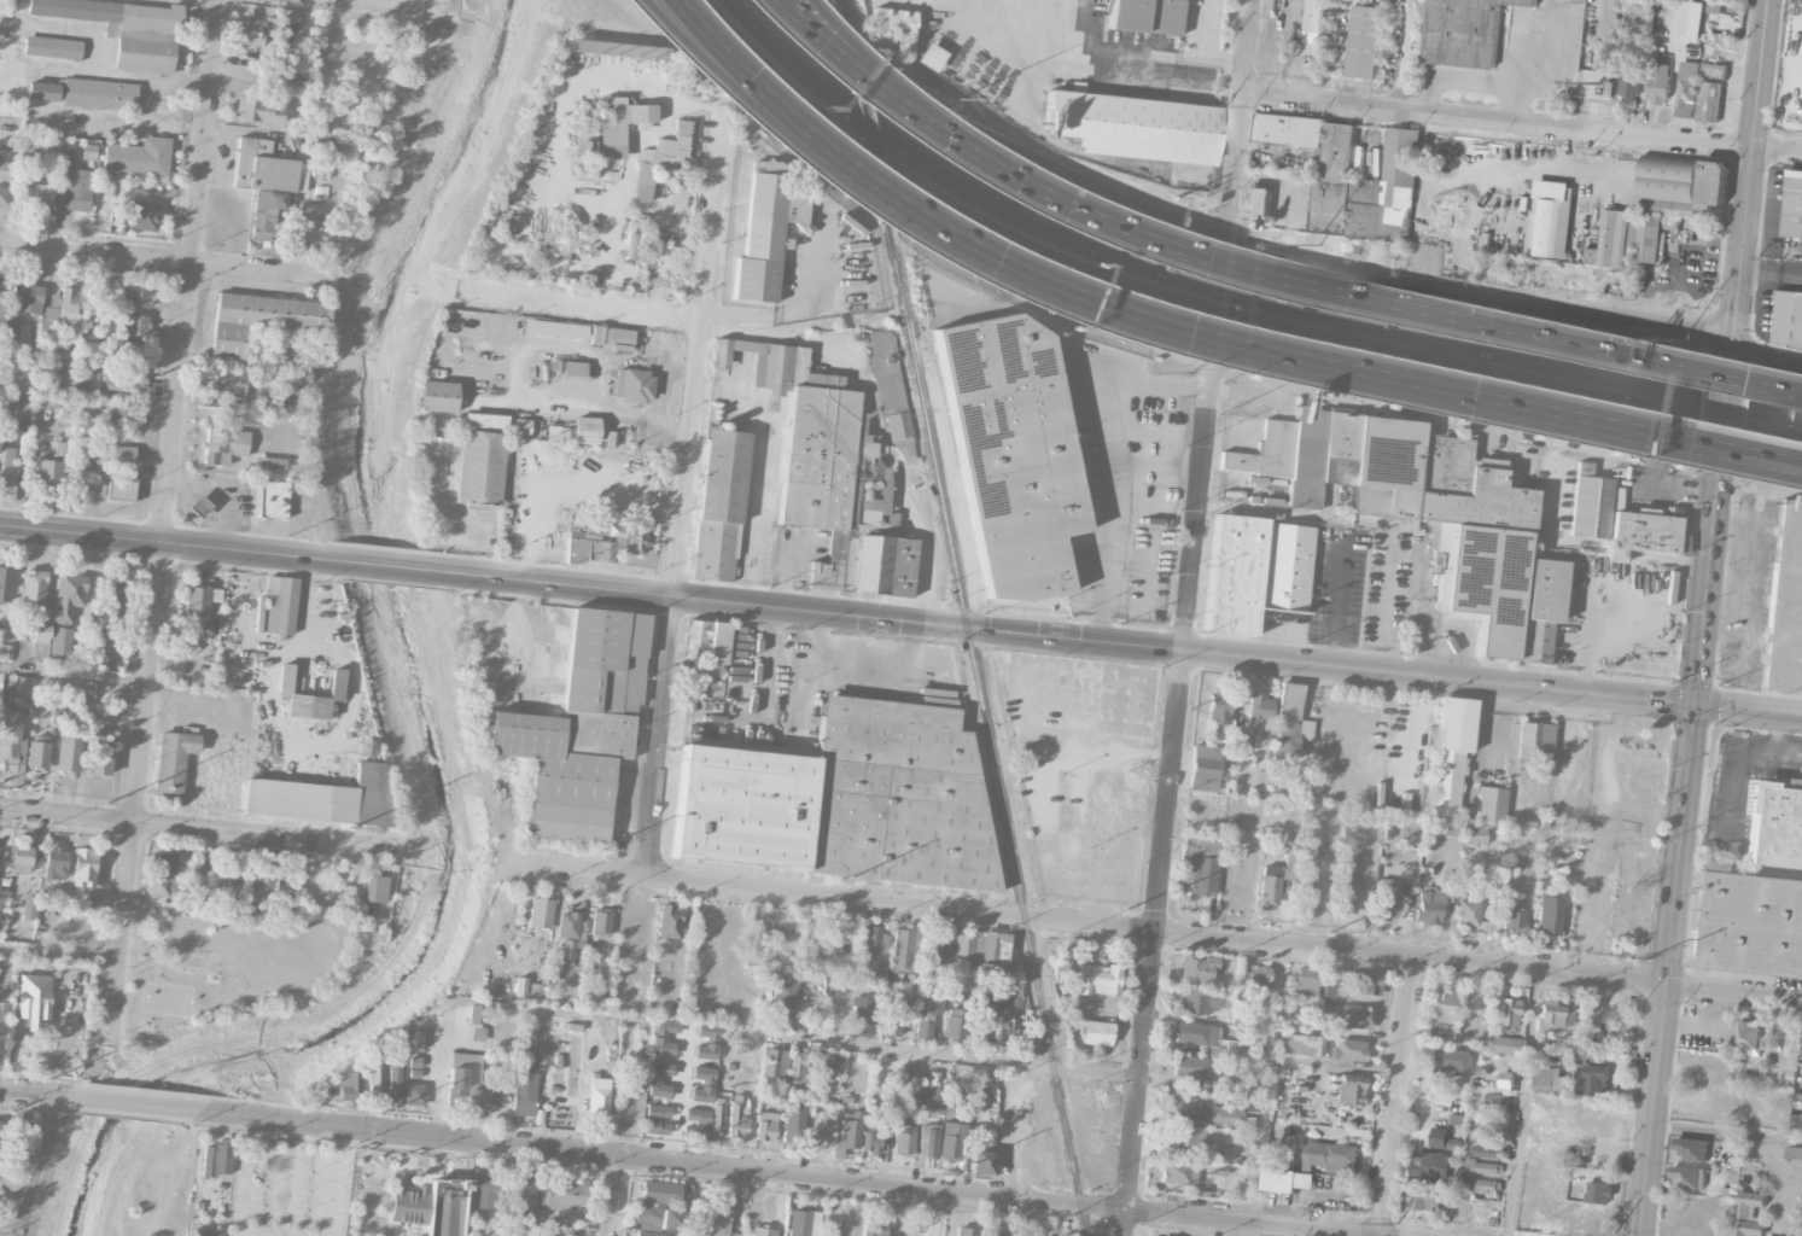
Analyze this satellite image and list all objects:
road: (397, 1)
building: (78, 12)
building: (1145, 16)
building: (287, 24)
building: (896, 27)
building: (1314, 27)
railway: (847, 28)
building: (249, 31)
building: (1465, 31)
building: (146, 39)
building: (1366, 41)
building: (584, 47)
building: (52, 48)
road: (1075, 49)
road: (1202, 49)
building: (634, 52)
road: (1281, 54)
building: (928, 58)
building: (288, 80)
road: (882, 81)
road: (863, 82)
building: (1628, 86)
building: (1685, 91)
building: (42, 92)
building: (99, 94)
road: (760, 98)
road: (1801, 99)
road: (739, 105)
road: (800, 109)
building: (258, 110)
road: (1238, 119)
road: (1521, 123)
building: (618, 124)
building: (1131, 127)
building: (1289, 128)
road: (975, 133)
railway: (868, 135)
building: (587, 147)
building: (1340, 151)
building: (138, 157)
building: (7, 161)
building: (325, 161)
building: (661, 161)
building: (267, 168)
road: (1522, 168)
building: (1669, 179)
road: (1746, 181)
building: (71, 182)
building: (1713, 185)
building: (35, 194)
building: (1372, 196)
building: (5, 197)
road: (1289, 197)
building: (1261, 200)
road: (1592, 202)
building: (1792, 206)
building: (264, 212)
building: (138, 216)
building: (1551, 218)
building: (1652, 237)
building: (759, 239)
building: (1613, 240)
road: (163, 261)
road: (1684, 264)
road: (1771, 264)
building: (0, 285)
road: (1229, 293)
building: (135, 297)
road: (1476, 297)
road: (1068, 298)
building: (28, 299)
road: (1374, 302)
building: (68, 305)
road: (645, 316)
building: (49, 317)
building: (1788, 317)
building: (258, 321)
building: (135, 326)
road: (1275, 326)
building: (554, 330)
building: (16, 332)
building: (618, 334)
building: (595, 336)
traffic signals: (1731, 343)
building: (620, 348)
building: (130, 352)
road: (1765, 358)
building: (89, 369)
building: (570, 369)
road: (1214, 369)
road: (1318, 369)
building: (492, 371)
building: (123, 381)
building: (229, 384)
building: (631, 385)
road: (88, 391)
building: (437, 397)
building: (888, 397)
road: (657, 402)
road: (1413, 402)
road: (1724, 409)
building: (23, 412)
road: (1722, 419)
building: (484, 421)
building: (521, 427)
building: (575, 431)
building: (610, 439)
building: (223, 445)
road: (1657, 453)
building: (1011, 454)
building: (115, 456)
road: (1114, 459)
building: (268, 463)
building: (6, 466)
traffic signals: (1718, 466)
building: (479, 467)
building: (49, 468)
building: (100, 490)
building: (119, 491)
building: (840, 496)
building: (272, 500)
building: (1411, 502)
road: (684, 503)
building: (1590, 505)
building: (719, 506)
building: (198, 507)
road: (1288, 515)
road: (162, 523)
building: (1644, 535)
building: (628, 538)
road: (164, 542)
building: (576, 550)
road: (387, 567)
building: (1255, 571)
building: (6, 584)
building: (33, 588)
building: (69, 594)
building: (116, 596)
building: (279, 605)
building: (1785, 605)
building: (197, 610)
building: (1540, 610)
road: (1394, 623)
building: (41, 635)
building: (706, 640)
road: (1124, 643)
building: (60, 646)
building: (5, 652)
road: (72, 674)
building: (22, 687)
building: (309, 695)
traffic signals: (1693, 704)
building: (1218, 709)
building: (1258, 709)
building: (1289, 721)
railway: (985, 724)
building: (578, 729)
building: (12, 744)
building: (1241, 744)
building: (1535, 744)
building: (365, 748)
building: (39, 752)
building: (68, 752)
building: (99, 754)
building: (1448, 754)
building: (173, 763)
building: (1203, 768)
building: (322, 799)
building: (844, 800)
power tower: (106, 804)
building: (1489, 804)
road: (1165, 811)
building: (1399, 818)
building: (1774, 823)
road: (192, 827)
building: (1448, 827)
power tower: (348, 828)
building: (1388, 832)
building: (1475, 835)
road: (1678, 846)
power tower: (596, 851)
building: (24, 859)
building: (54, 864)
building: (164, 864)
building: (1197, 864)
building: (1634, 867)
building: (83, 869)
building: (1384, 869)
building: (197, 870)
building: (228, 875)
building: (1276, 878)
power tower: (839, 880)
building: (263, 884)
building: (1482, 884)
building: (162, 888)
building: (375, 888)
building: (1345, 896)
building: (1462, 896)
building: (2, 899)
building: (1386, 899)
building: (1428, 906)
building: (29, 908)
power tower: (1126, 910)
building: (540, 911)
building: (1466, 914)
building: (1547, 916)
building: (1512, 917)
building: (669, 921)
building: (600, 922)
building: (1744, 922)
building: (1623, 927)
road: (1149, 929)
power tower: (1330, 933)
building: (570, 935)
building: (873, 945)
building: (904, 948)
building: (937, 949)
building: (962, 950)
road: (58, 952)
building: (991, 955)
power tower: (1634, 963)
park: (215, 964)
building: (1197, 969)
building: (1061, 978)
building: (1256, 978)
building: (910, 980)
building: (1098, 980)
building: (1305, 983)
building: (1364, 984)
building: (34, 989)
building: (536, 990)
building: (1331, 992)
building: (782, 995)
building: (906, 996)
building: (986, 996)
building: (1196, 1001)
building: (1440, 1007)
building: (1508, 1013)
building: (477, 1014)
building: (862, 1014)
building: (1550, 1014)
building: (926, 1016)
building: (1354, 1016)
building: (1587, 1018)
building: (892, 1021)
building: (1004, 1022)
building: (954, 1025)
building: (982, 1026)
building: (2, 1027)
building: (1436, 1030)
building: (1095, 1033)
building: (1194, 1033)
building: (1748, 1034)
building: (663, 1037)
building: (1020, 1038)
building: (706, 1042)
building: (1439, 1043)
building: (1297, 1045)
building: (1503, 1045)
building: (1345, 1051)
road: (940, 1056)
building: (1582, 1057)
building: (1448, 1060)
building: (775, 1065)
building: (414, 1066)
building: (1190, 1067)
building: (800, 1068)
road: (437, 1073)
building: (829, 1074)
building: (374, 1079)
building: (1509, 1079)
building: (1597, 1079)
building: (659, 1080)
building: (393, 1081)
building: (1551, 1081)
power tower: (77, 1083)
building: (463, 1083)
building: (524, 1084)
road: (1267, 1084)
building: (702, 1085)
building: (1748, 1085)
building: (903, 1086)
building: (1582, 1086)
building: (344, 1088)
building: (937, 1088)
building: (489, 1092)
building: (1349, 1092)
road: (31, 1094)
building: (414, 1095)
building: (1205, 1096)
road: (1396, 1096)
building: (599, 1097)
building: (1494, 1097)
road: (1523, 1102)
building: (629, 1104)
building: (1180, 1104)
road: (140, 1106)
building: (1693, 1106)
power tower: (380, 1114)
building: (716, 1118)
building: (737, 1118)
building: (1231, 1118)
building: (655, 1119)
building: (1457, 1119)
building: (0, 1121)
building: (695, 1123)
building: (765, 1126)
building: (794, 1126)
building: (850, 1131)
road: (1016, 1131)
road: (1726, 1135)
building: (1184, 1136)
building: (1444, 1138)
building: (870, 1139)
building: (904, 1139)
building: (928, 1143)
building: (950, 1143)
power tower: (682, 1147)
building: (1690, 1149)
building: (1488, 1152)
building: (1792, 1152)
building: (1217, 1154)
building: (1331, 1156)
building: (1, 1158)
building: (217, 1159)
road: (249, 1161)
building: (981, 1162)
building: (1431, 1166)
building: (1480, 1166)
building: (1217, 1170)
building: (1561, 1171)
power tower: (937, 1173)
road: (794, 1176)
building: (1183, 1176)
building: (1689, 1177)
building: (1287, 1179)
road: (331, 1182)
building: (1486, 1184)
building: (659, 1190)
building: (1599, 1191)
building: (1727, 1191)
building: (486, 1193)
road: (611, 1196)
building: (565, 1197)
power tower: (1154, 1197)
building: (1424, 1197)
building: (523, 1200)
building: (407, 1205)
building: (445, 1207)
building: (1750, 1213)
building: (646, 1217)
building: (719, 1218)
building: (673, 1220)
building: (803, 1223)
power tower: (1396, 1223)
building: (874, 1228)
building: (696, 1230)
building: (967, 1231)
building: (763, 1232)
building: (206, 1234)
building: (648, 1234)
road: (4, 1235)
building: (997, 1235)

